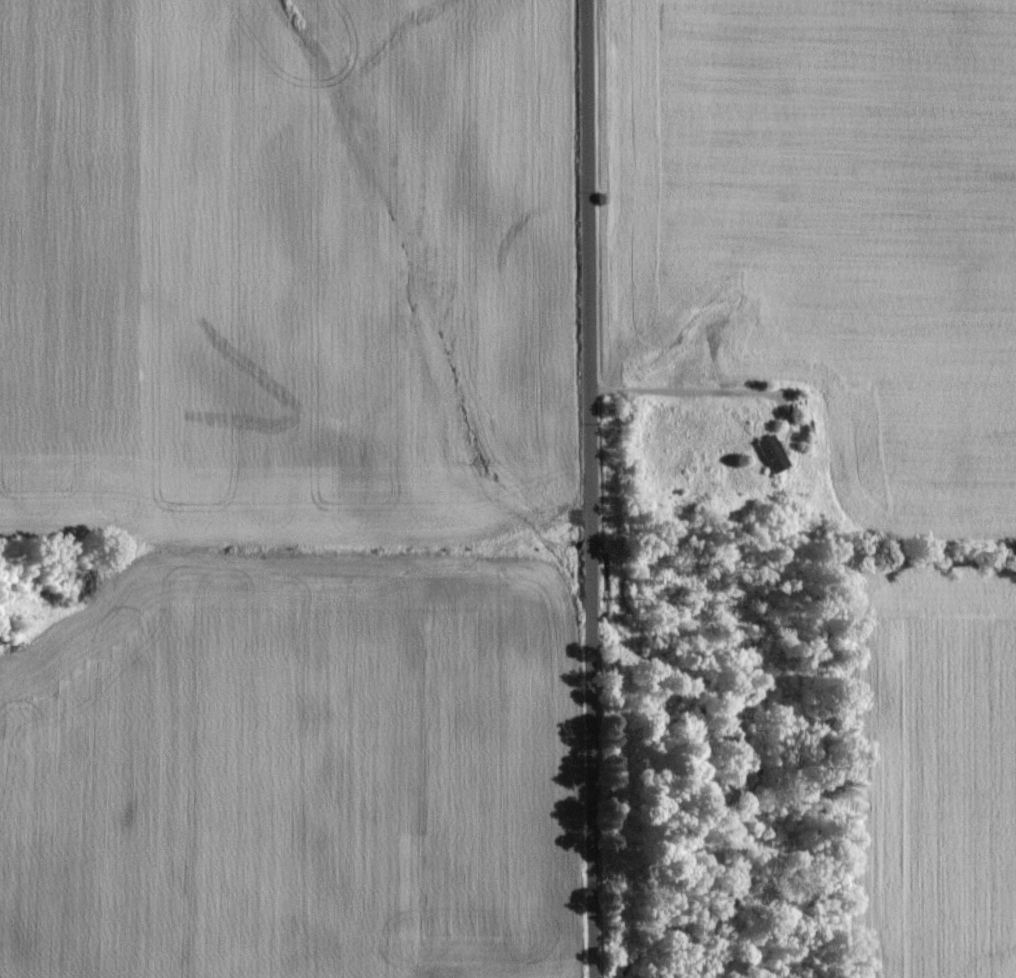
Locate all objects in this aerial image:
road: (700, 394)
building: (772, 453)
road: (594, 489)

